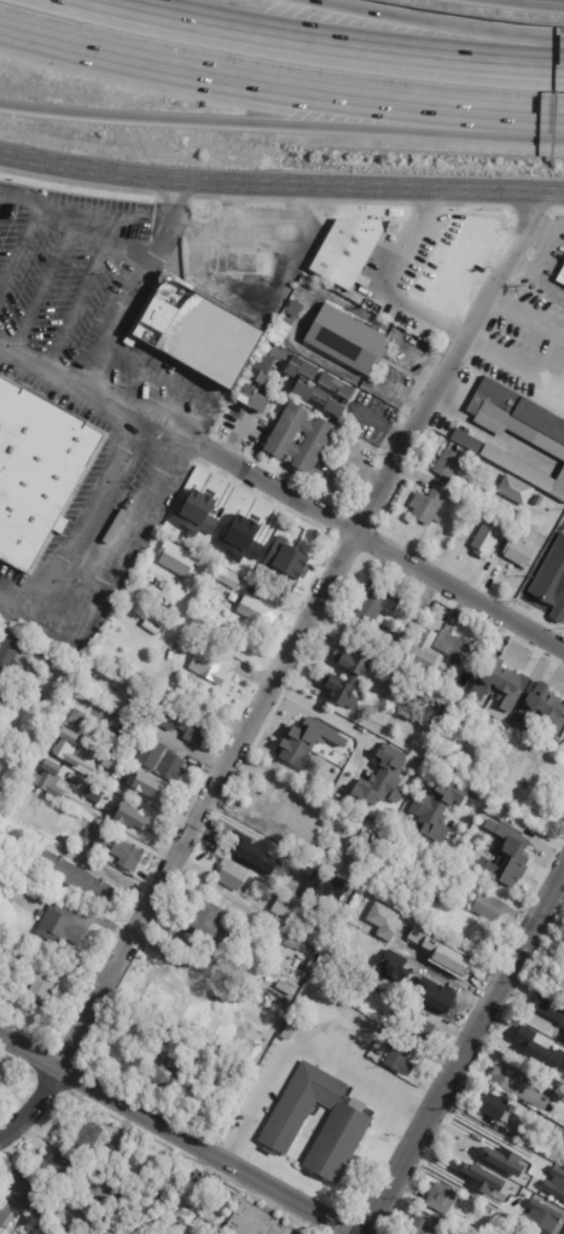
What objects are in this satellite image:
road: (558, 0)
road: (430, 25)
road: (330, 42)
road: (279, 89)
road: (281, 126)
road: (75, 183)
road: (280, 186)
road: (171, 196)
road: (204, 197)
road: (233, 198)
road: (264, 199)
road: (297, 201)
road: (359, 203)
road: (424, 204)
road: (478, 205)
road: (528, 210)
road: (554, 212)
road: (72, 220)
road: (21, 247)
building: (347, 250)
road: (539, 259)
building: (443, 270)
building: (250, 271)
parking lot: (66, 273)
building: (560, 277)
road: (390, 278)
road: (547, 283)
road: (41, 290)
road: (134, 290)
road: (75, 308)
road: (528, 309)
building: (280, 330)
building: (199, 331)
building: (345, 341)
road: (513, 364)
building: (306, 382)
road: (180, 383)
road: (66, 390)
building: (254, 402)
building: (517, 417)
road: (170, 439)
building: (465, 441)
building: (283, 442)
building: (449, 465)
building: (37, 470)
building: (524, 473)
building: (516, 493)
building: (429, 505)
road: (85, 515)
road: (128, 533)
building: (284, 538)
building: (484, 539)
road: (386, 549)
parking lot: (115, 552)
building: (517, 552)
building: (175, 560)
building: (286, 561)
road: (543, 561)
building: (232, 580)
building: (552, 583)
road: (17, 593)
road: (277, 601)
building: (377, 601)
road: (539, 606)
road: (518, 608)
building: (255, 612)
road: (57, 614)
road: (558, 616)
building: (155, 622)
road: (216, 637)
building: (453, 645)
building: (423, 651)
building: (8, 656)
building: (356, 659)
building: (210, 666)
road: (279, 670)
building: (498, 683)
building: (342, 689)
building: (18, 690)
road: (179, 690)
building: (8, 695)
building: (541, 711)
road: (328, 713)
building: (174, 719)
building: (492, 722)
building: (80, 723)
building: (127, 735)
road: (174, 745)
building: (306, 745)
building: (65, 747)
building: (163, 761)
building: (18, 764)
building: (523, 770)
building: (135, 774)
building: (50, 777)
building: (382, 780)
building: (279, 783)
building: (147, 786)
road: (146, 790)
building: (4, 793)
building: (93, 796)
building: (435, 811)
building: (264, 812)
road: (511, 813)
building: (132, 817)
road: (129, 819)
building: (92, 827)
building: (135, 838)
building: (386, 850)
building: (505, 852)
building: (124, 853)
building: (261, 857)
building: (231, 873)
building: (452, 875)
building: (75, 879)
building: (258, 880)
building: (483, 882)
road: (223, 887)
building: (435, 892)
building: (434, 902)
building: (488, 905)
building: (290, 908)
building: (211, 926)
building: (60, 927)
building: (452, 933)
building: (192, 940)
building: (298, 945)
building: (13, 948)
building: (563, 957)
building: (309, 967)
building: (461, 967)
building: (210, 974)
building: (302, 975)
building: (161, 981)
building: (41, 987)
building: (380, 989)
building: (274, 995)
building: (434, 997)
building: (543, 1009)
building: (418, 1022)
building: (290, 1030)
road: (298, 1039)
building: (383, 1042)
building: (530, 1050)
road: (463, 1053)
building: (180, 1062)
building: (150, 1065)
building: (1, 1076)
building: (163, 1076)
building: (507, 1078)
building: (145, 1088)
building: (552, 1090)
building: (203, 1096)
road: (409, 1106)
building: (495, 1106)
building: (87, 1129)
road: (488, 1129)
building: (345, 1130)
road: (175, 1134)
building: (525, 1136)
road: (237, 1147)
building: (472, 1149)
building: (56, 1165)
building: (494, 1189)
building: (25, 1192)
building: (441, 1198)
building: (187, 1213)
building: (5, 1215)
building: (47, 1215)
building: (176, 1218)
building: (254, 1222)
building: (418, 1226)
building: (296, 1233)

